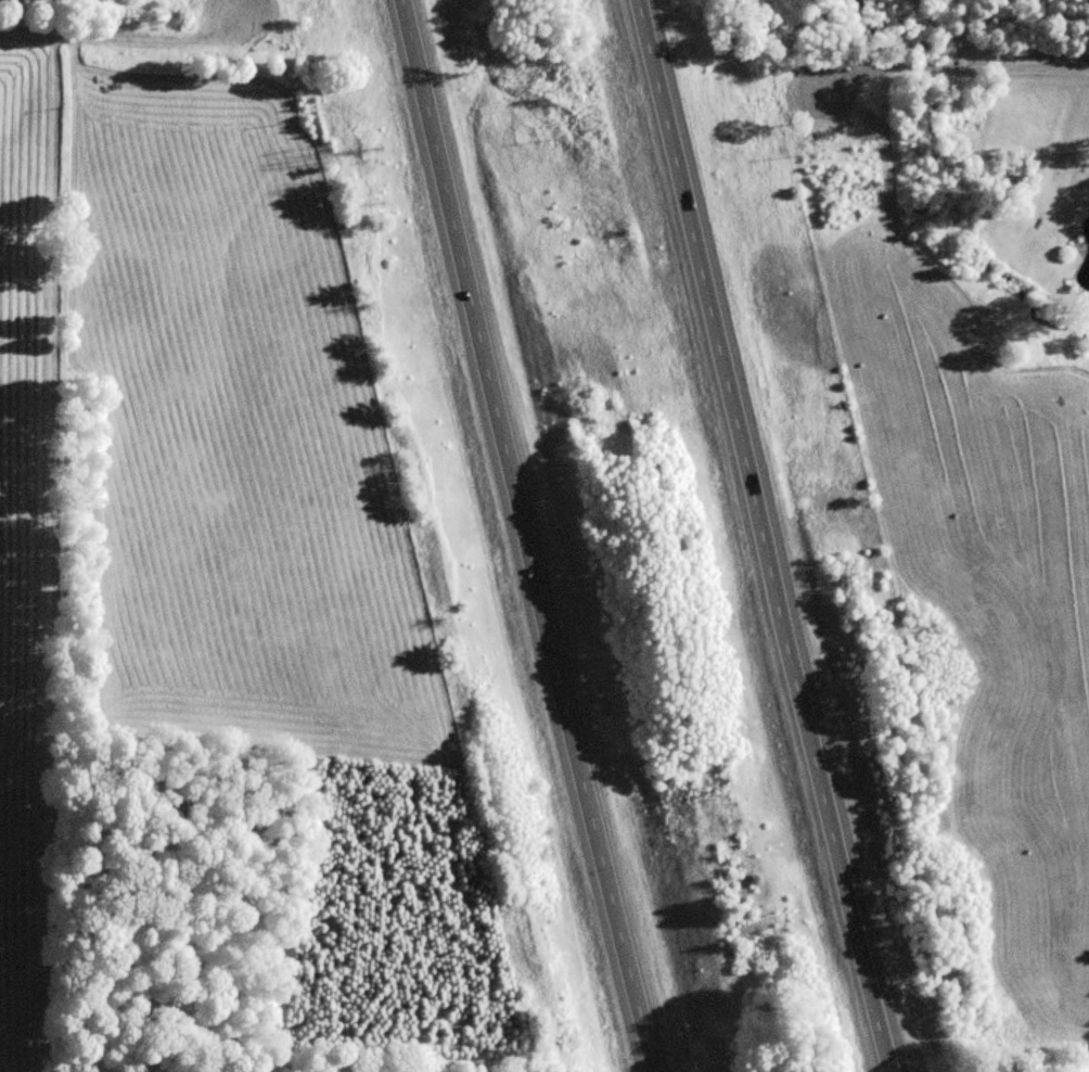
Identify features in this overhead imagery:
road: (69, 36)
road: (953, 71)
road: (768, 534)
road: (528, 535)

